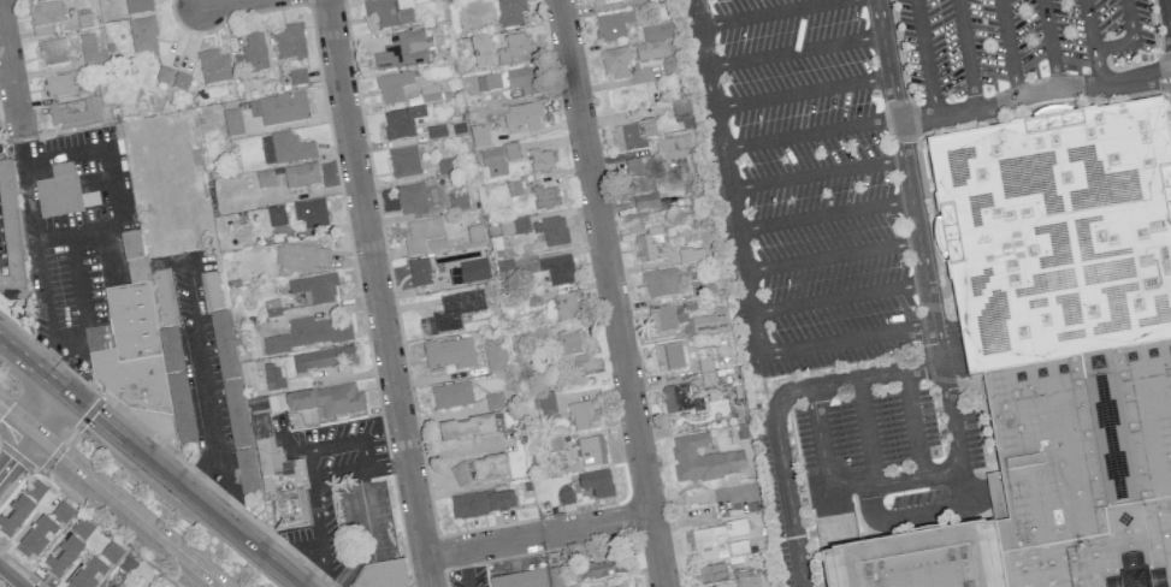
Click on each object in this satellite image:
building: (412, 0)
road: (213, 2)
building: (604, 2)
building: (137, 6)
road: (1170, 6)
building: (510, 12)
building: (47, 13)
road: (770, 13)
building: (386, 14)
building: (613, 24)
road: (1089, 24)
building: (657, 31)
building: (143, 35)
road: (1132, 40)
parking lot: (1016, 42)
road: (1049, 42)
building: (290, 43)
road: (1007, 48)
building: (515, 49)
building: (90, 51)
building: (402, 51)
building: (650, 51)
road: (794, 51)
building: (481, 52)
building: (53, 53)
building: (252, 54)
road: (965, 54)
road: (925, 58)
building: (615, 63)
building: (213, 67)
road: (1098, 67)
road: (11, 70)
building: (672, 71)
building: (164, 75)
building: (297, 77)
building: (510, 81)
building: (181, 82)
building: (59, 85)
building: (394, 87)
road: (1031, 90)
road: (803, 91)
building: (428, 93)
building: (283, 108)
building: (76, 115)
building: (522, 115)
building: (404, 121)
building: (232, 123)
road: (810, 134)
building: (479, 136)
building: (632, 136)
building: (674, 147)
building: (285, 149)
building: (510, 150)
road: (66, 155)
building: (539, 161)
building: (403, 162)
building: (492, 164)
road: (816, 173)
building: (301, 176)
building: (265, 178)
road: (727, 178)
road: (906, 180)
road: (28, 185)
building: (639, 186)
road: (113, 188)
building: (63, 192)
building: (545, 197)
building: (412, 198)
building: (459, 201)
building: (311, 213)
road: (824, 214)
building: (276, 215)
building: (514, 226)
building: (551, 231)
road: (77, 233)
building: (474, 233)
building: (425, 237)
building: (10, 238)
building: (1058, 238)
building: (650, 245)
road: (832, 256)
building: (300, 257)
road: (604, 257)
parking lot: (821, 259)
building: (505, 268)
building: (557, 269)
building: (468, 272)
building: (419, 273)
building: (660, 283)
building: (314, 287)
building: (212, 291)
road: (378, 293)
road: (839, 297)
building: (164, 298)
road: (82, 306)
building: (564, 307)
road: (47, 308)
building: (451, 312)
building: (661, 320)
building: (708, 322)
building: (309, 333)
road: (846, 340)
building: (132, 345)
building: (570, 351)
building: (450, 352)
building: (495, 357)
building: (668, 357)
building: (324, 358)
building: (706, 372)
building: (272, 376)
building: (177, 385)
road: (207, 386)
building: (451, 396)
building: (679, 399)
building: (276, 401)
building: (233, 402)
building: (325, 402)
building: (545, 404)
traffic signals: (7, 409)
road: (48, 410)
traffic signals: (87, 410)
road: (775, 410)
building: (584, 415)
road: (16, 416)
road: (912, 423)
building: (466, 428)
road: (867, 431)
road: (349, 443)
road: (16, 451)
traffic signals: (17, 451)
building: (591, 451)
building: (703, 459)
road: (152, 462)
road: (308, 463)
road: (388, 466)
road: (362, 469)
building: (479, 469)
road: (333, 470)
building: (1086, 470)
building: (279, 479)
road: (897, 480)
building: (597, 482)
road: (225, 490)
building: (566, 497)
road: (314, 504)
building: (481, 504)
building: (22, 506)
road: (363, 506)
road: (128, 508)
road: (930, 511)
building: (63, 512)
building: (82, 528)
road: (537, 534)
building: (37, 538)
building: (712, 539)
building: (738, 547)
road: (657, 551)
building: (111, 552)
building: (63, 557)
road: (320, 559)
building: (921, 563)
road: (353, 565)
building: (599, 569)
building: (89, 574)
building: (711, 574)
building: (383, 575)
building: (747, 579)
building: (520, 580)
road: (6, 581)
building: (113, 586)
building: (623, 586)

